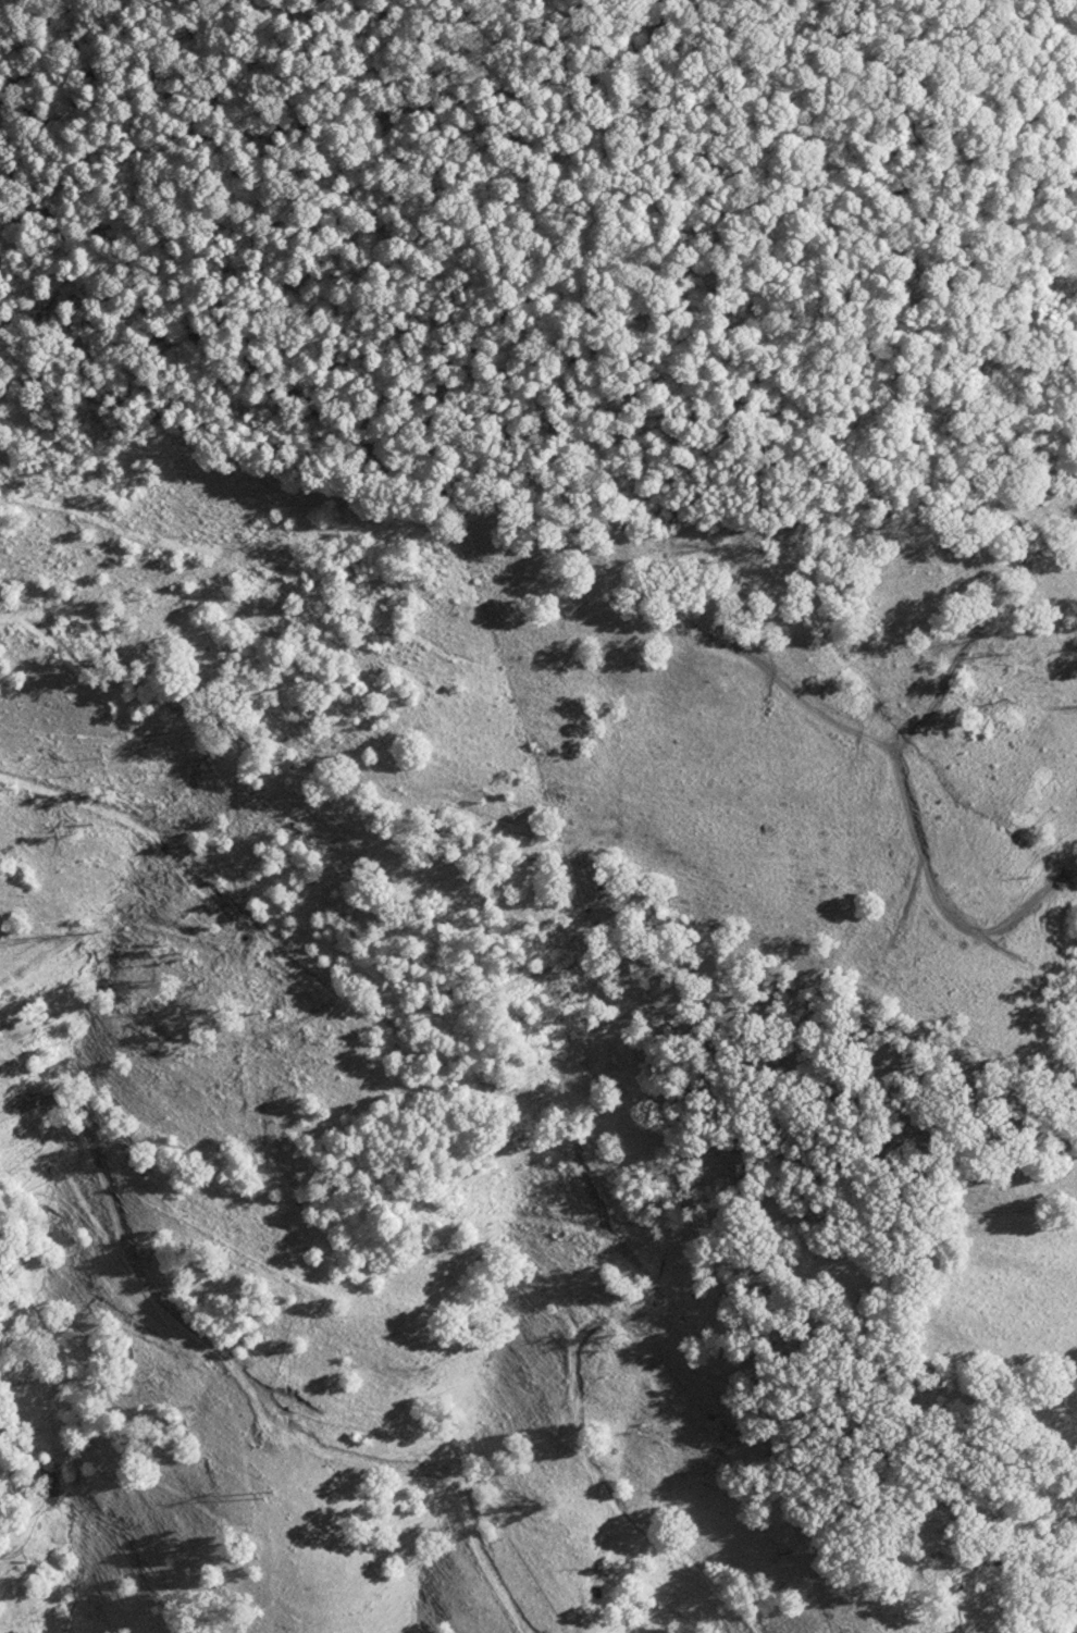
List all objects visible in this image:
road: (676, 616)
road: (974, 630)

